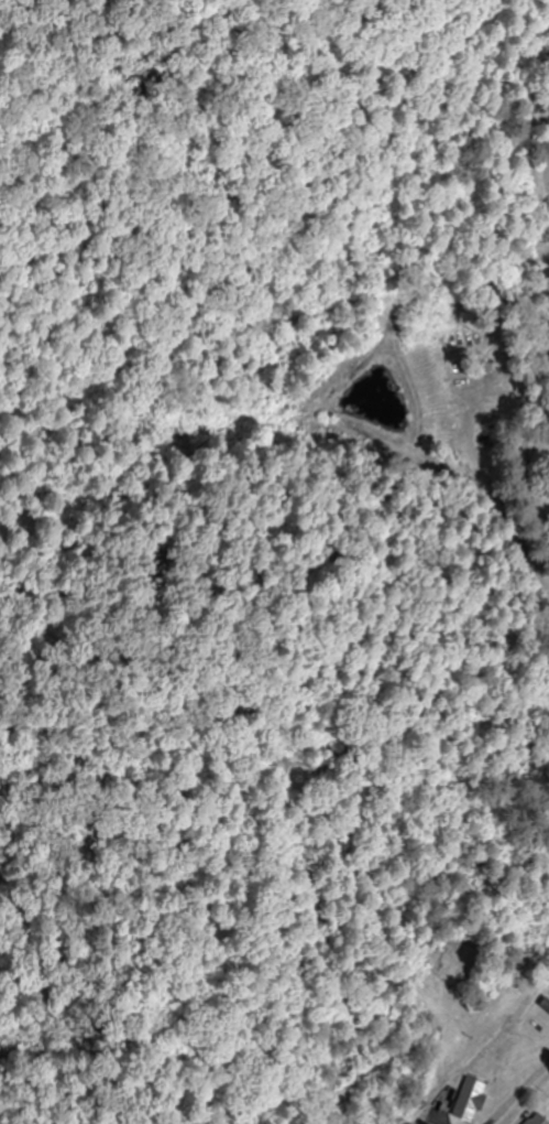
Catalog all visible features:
road: (472, 883)
building: (543, 1006)
building: (464, 1101)
building: (534, 1120)

